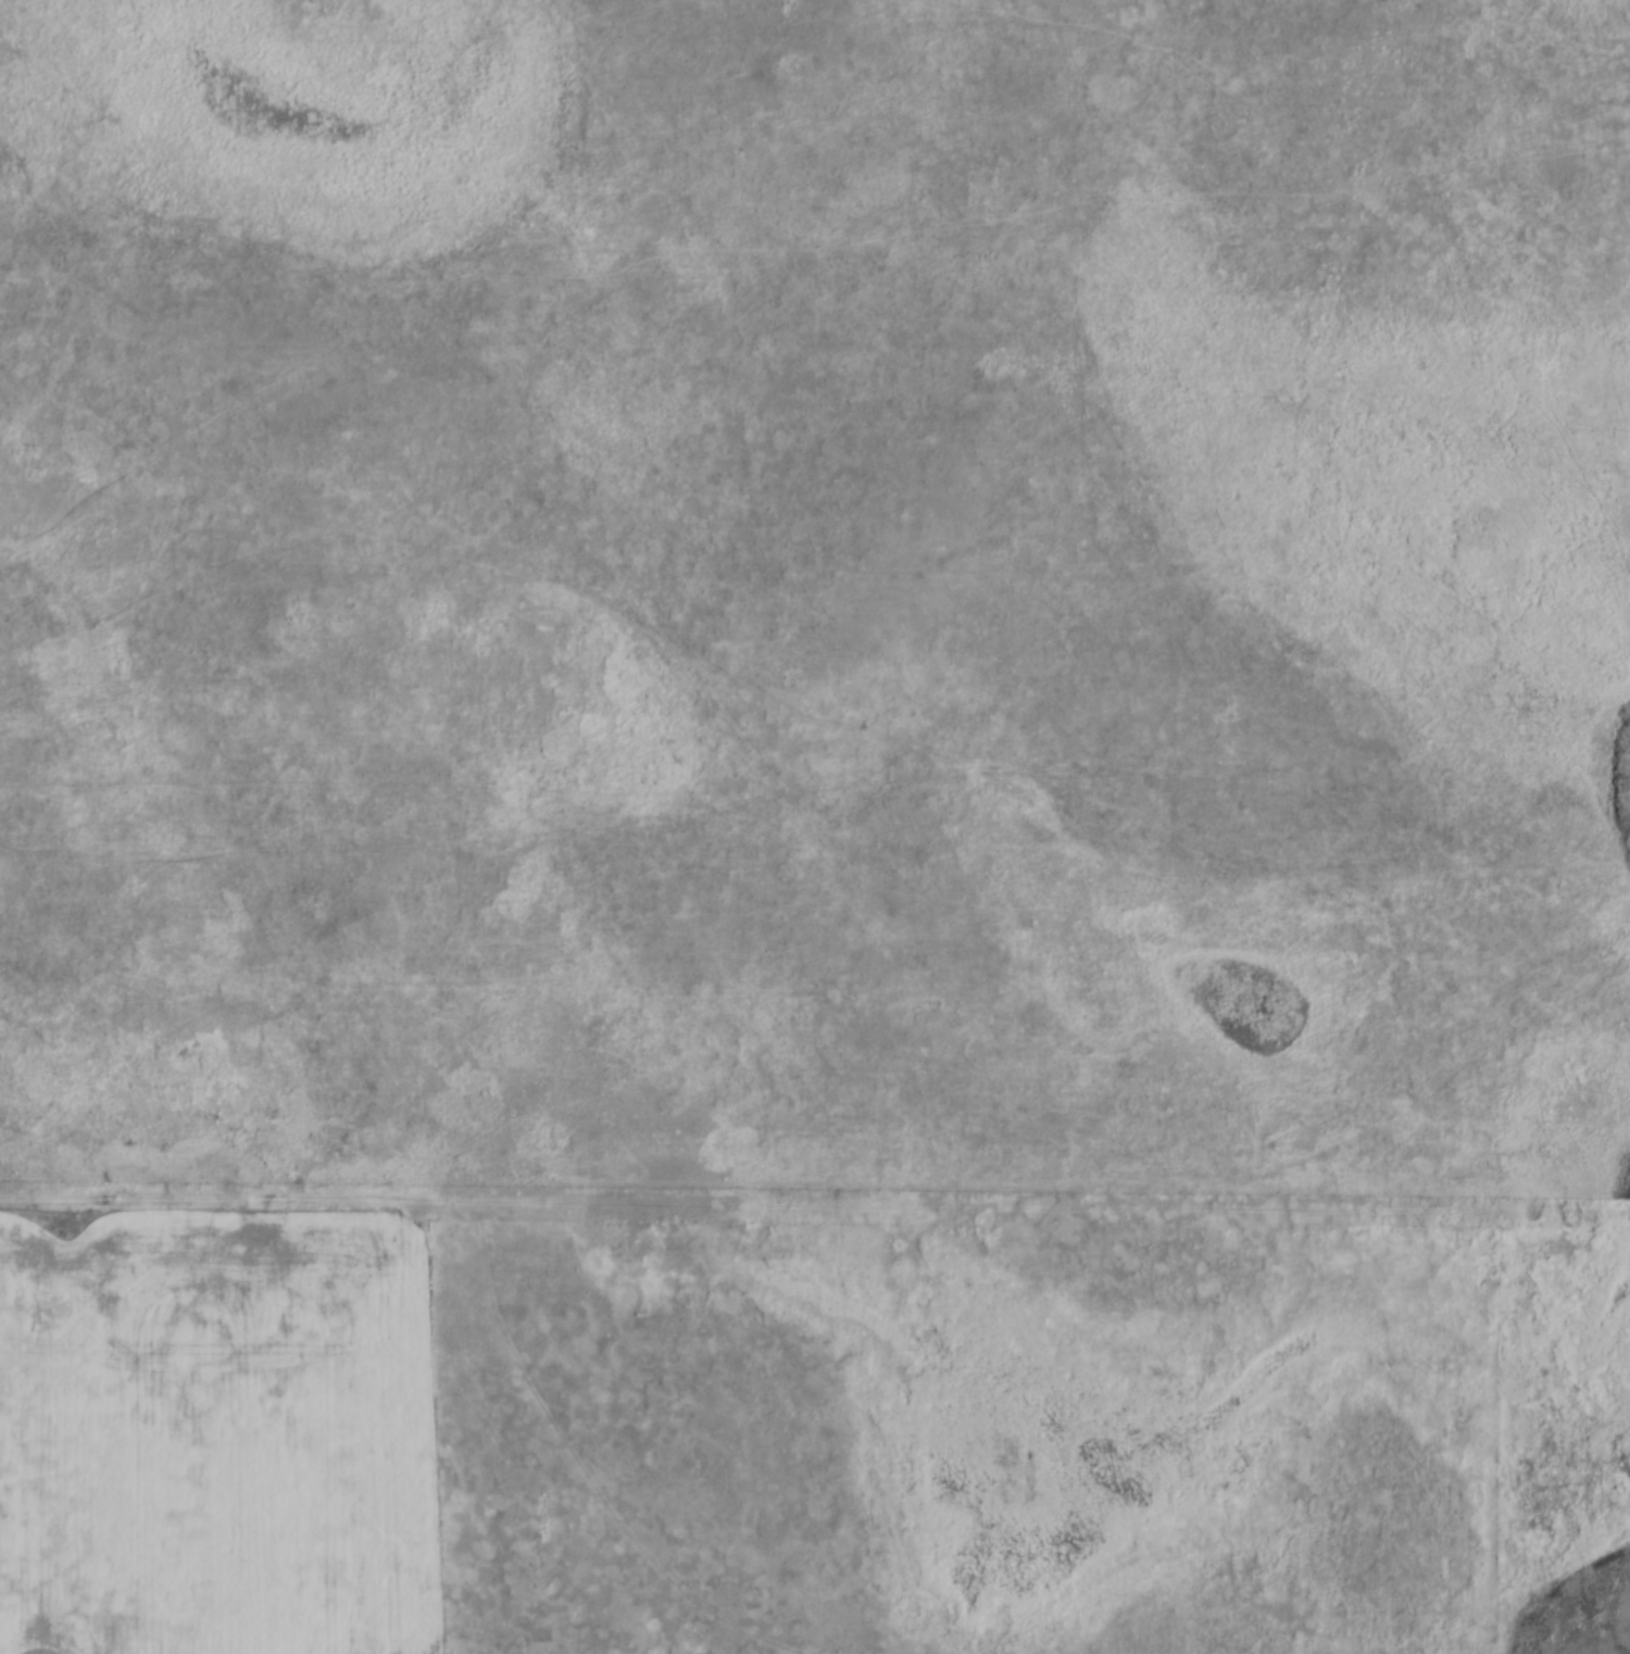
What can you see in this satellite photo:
building: (729, 1483)

